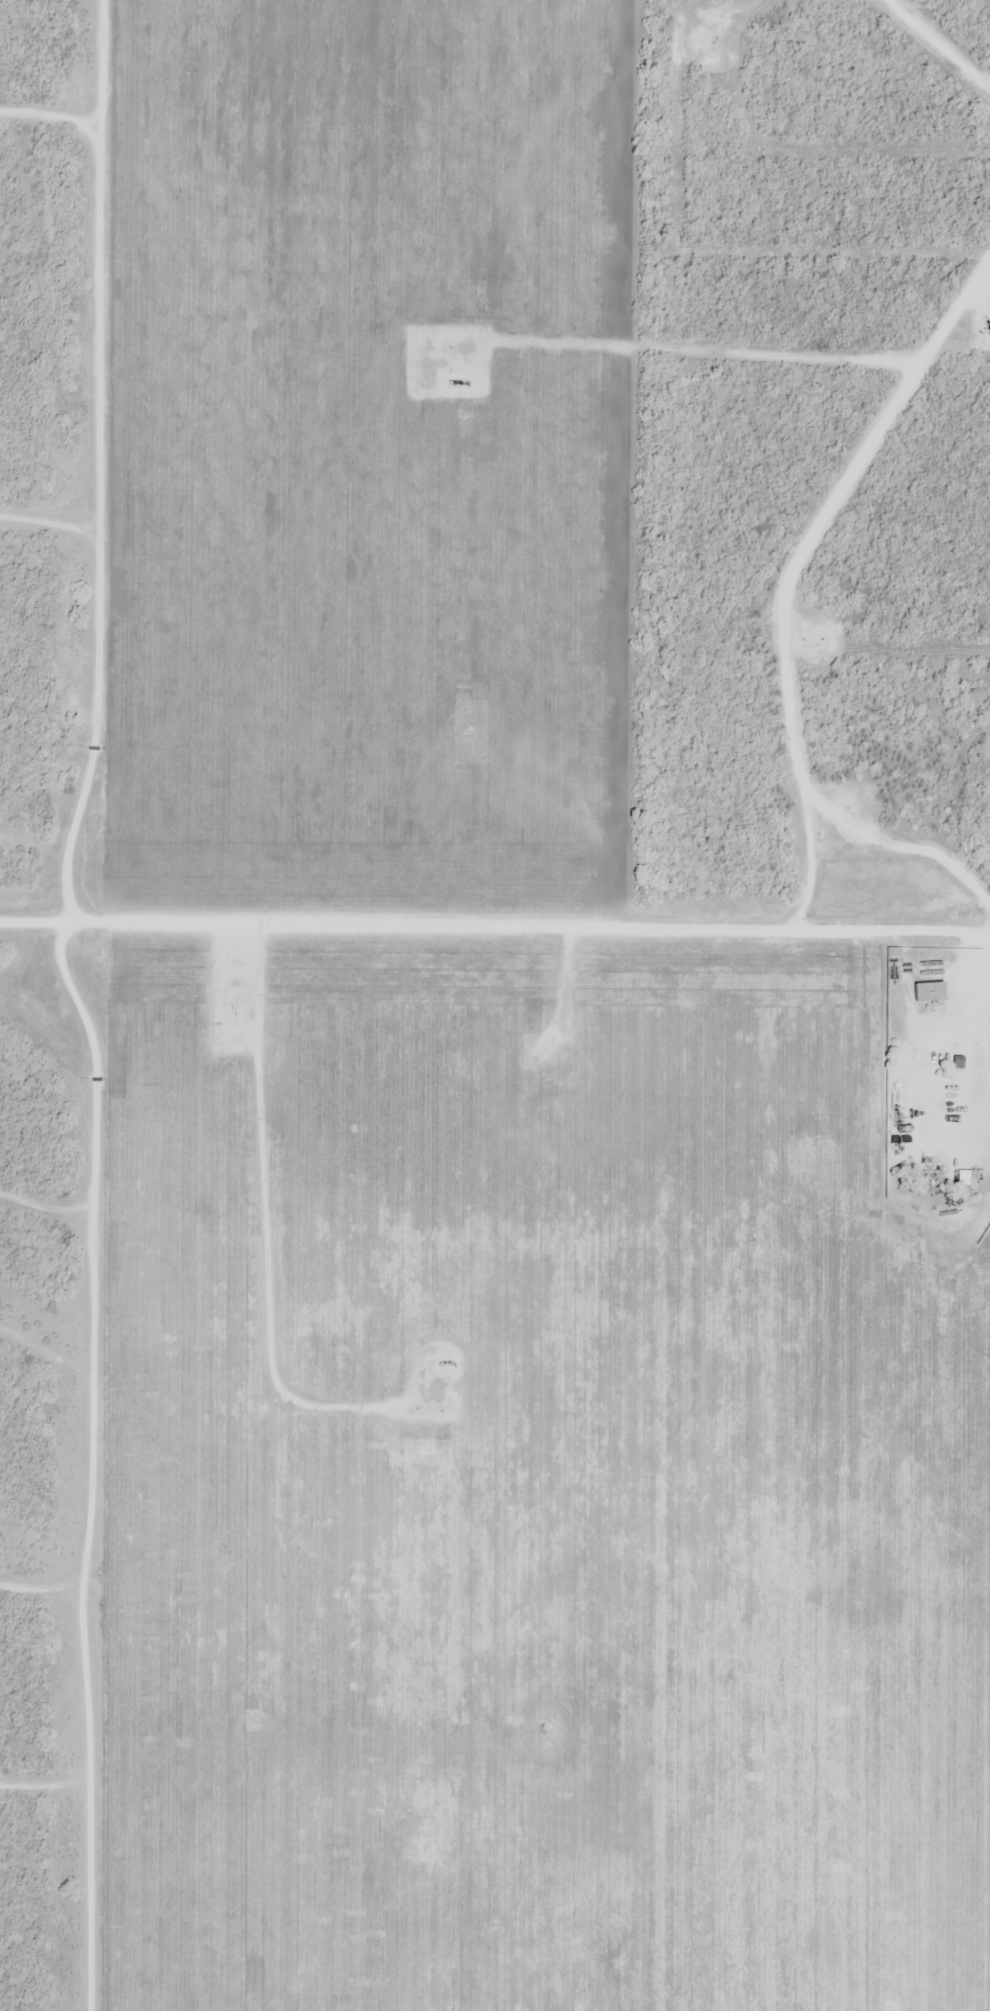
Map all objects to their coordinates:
road: (495, 929)
building: (918, 1059)
building: (963, 1178)

